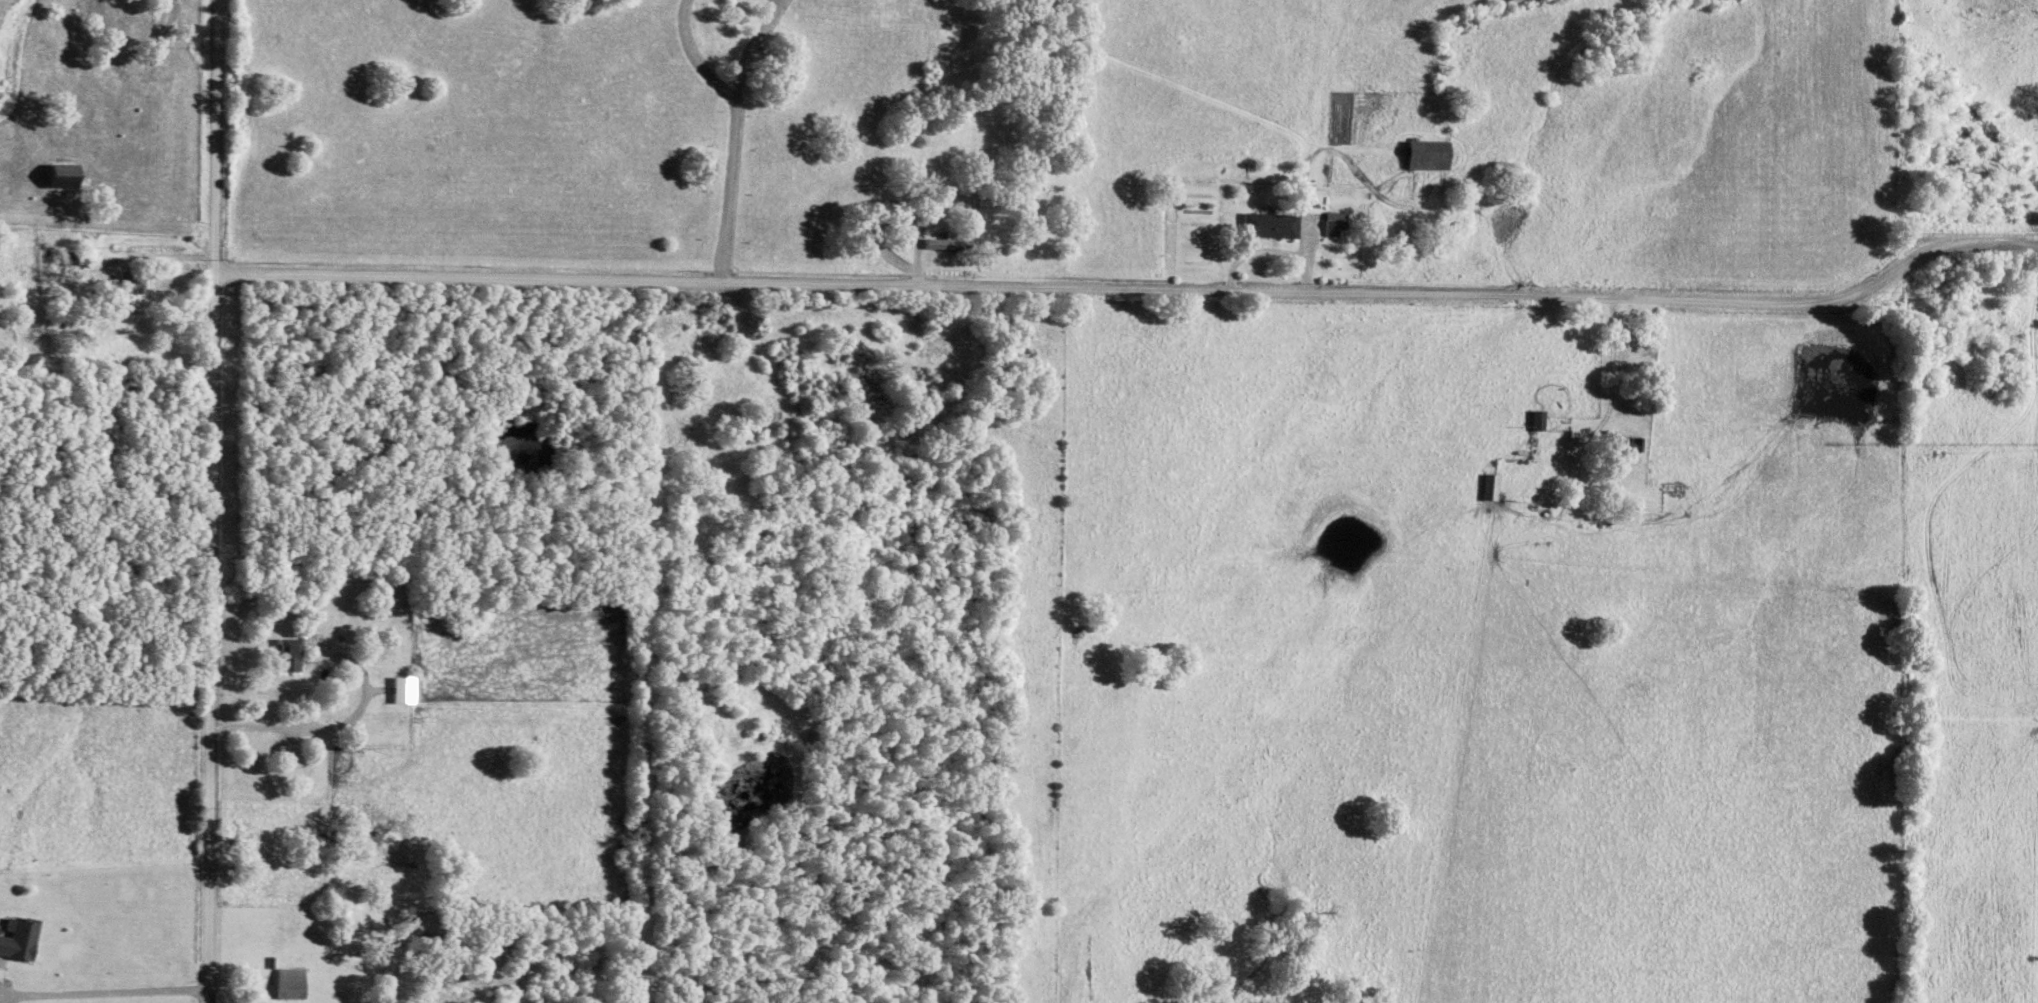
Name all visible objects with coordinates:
road: (750, 48)
road: (694, 58)
building: (1425, 152)
building: (61, 172)
road: (728, 189)
building: (1333, 220)
building: (1269, 222)
road: (141, 252)
building: (133, 278)
road: (1131, 284)
road: (1610, 361)
building: (1488, 484)
road: (211, 501)
building: (288, 652)
building: (403, 687)
road: (362, 691)
road: (252, 723)
building: (289, 752)
building: (17, 935)
building: (289, 981)
road: (103, 989)

